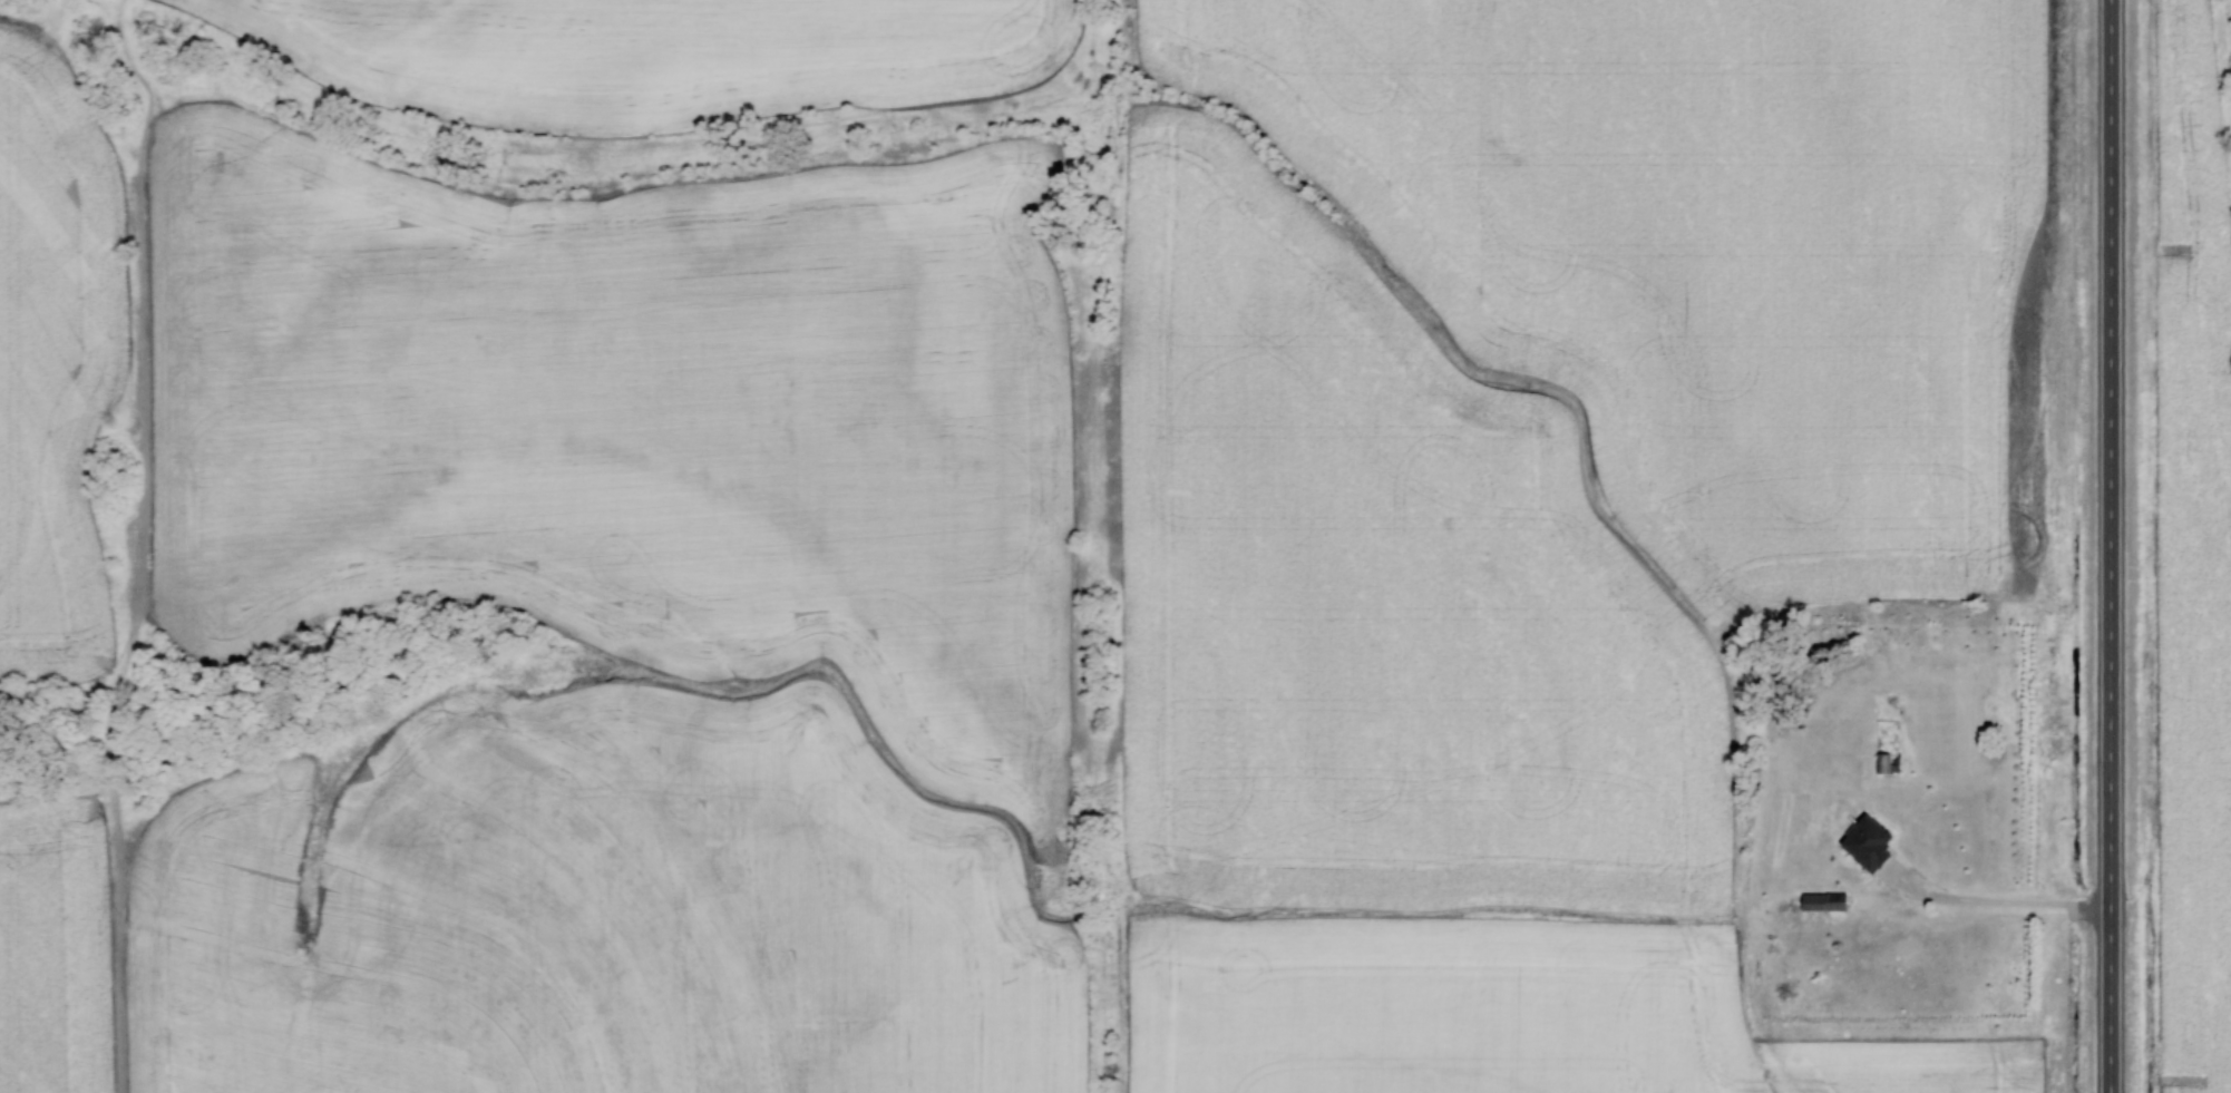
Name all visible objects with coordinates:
road: (2111, 546)
building: (1888, 740)
building: (1908, 850)
building: (1822, 904)
road: (1998, 904)

